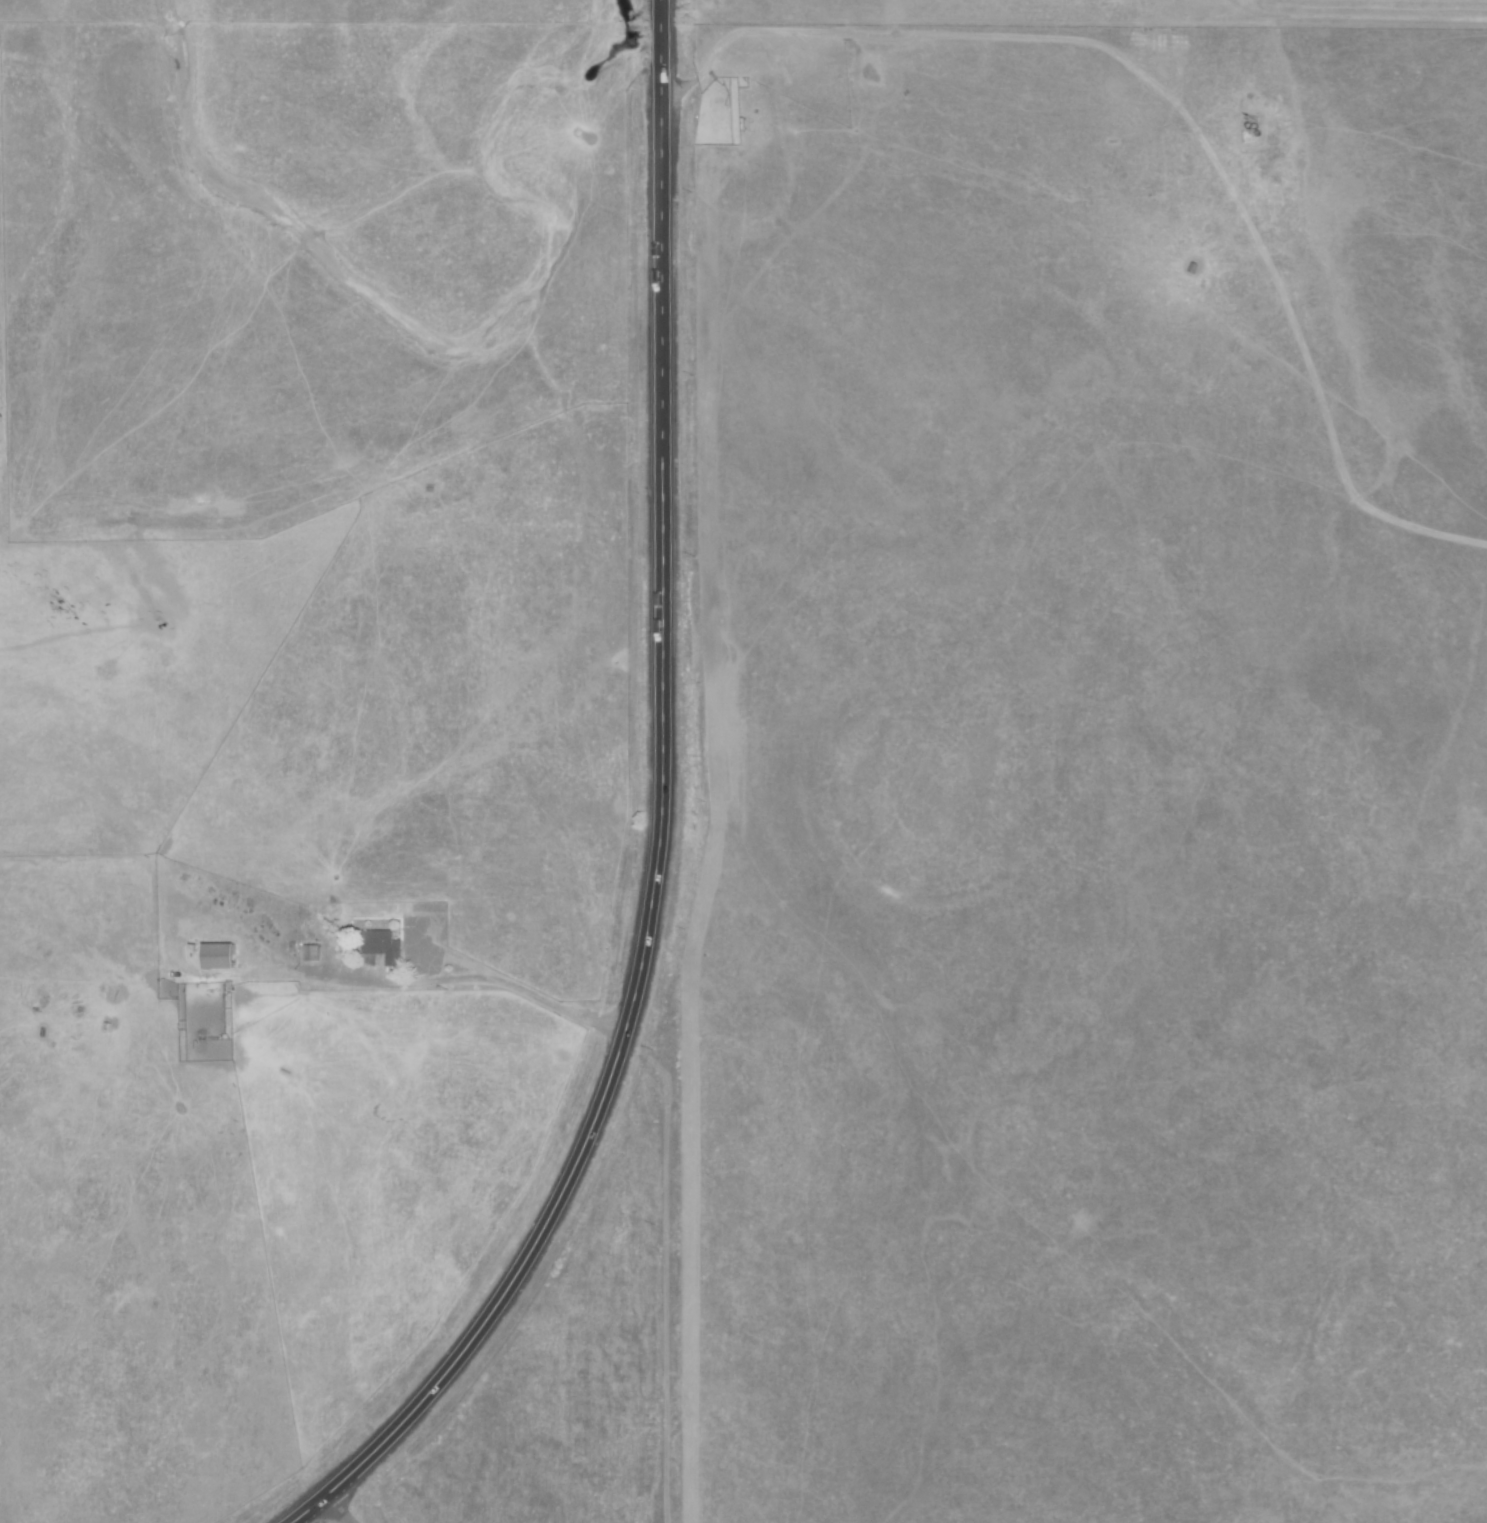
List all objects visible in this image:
building: (1247, 135)
road: (660, 817)
building: (380, 948)
building: (309, 953)
building: (216, 956)
road: (522, 990)
road: (347, 1507)

